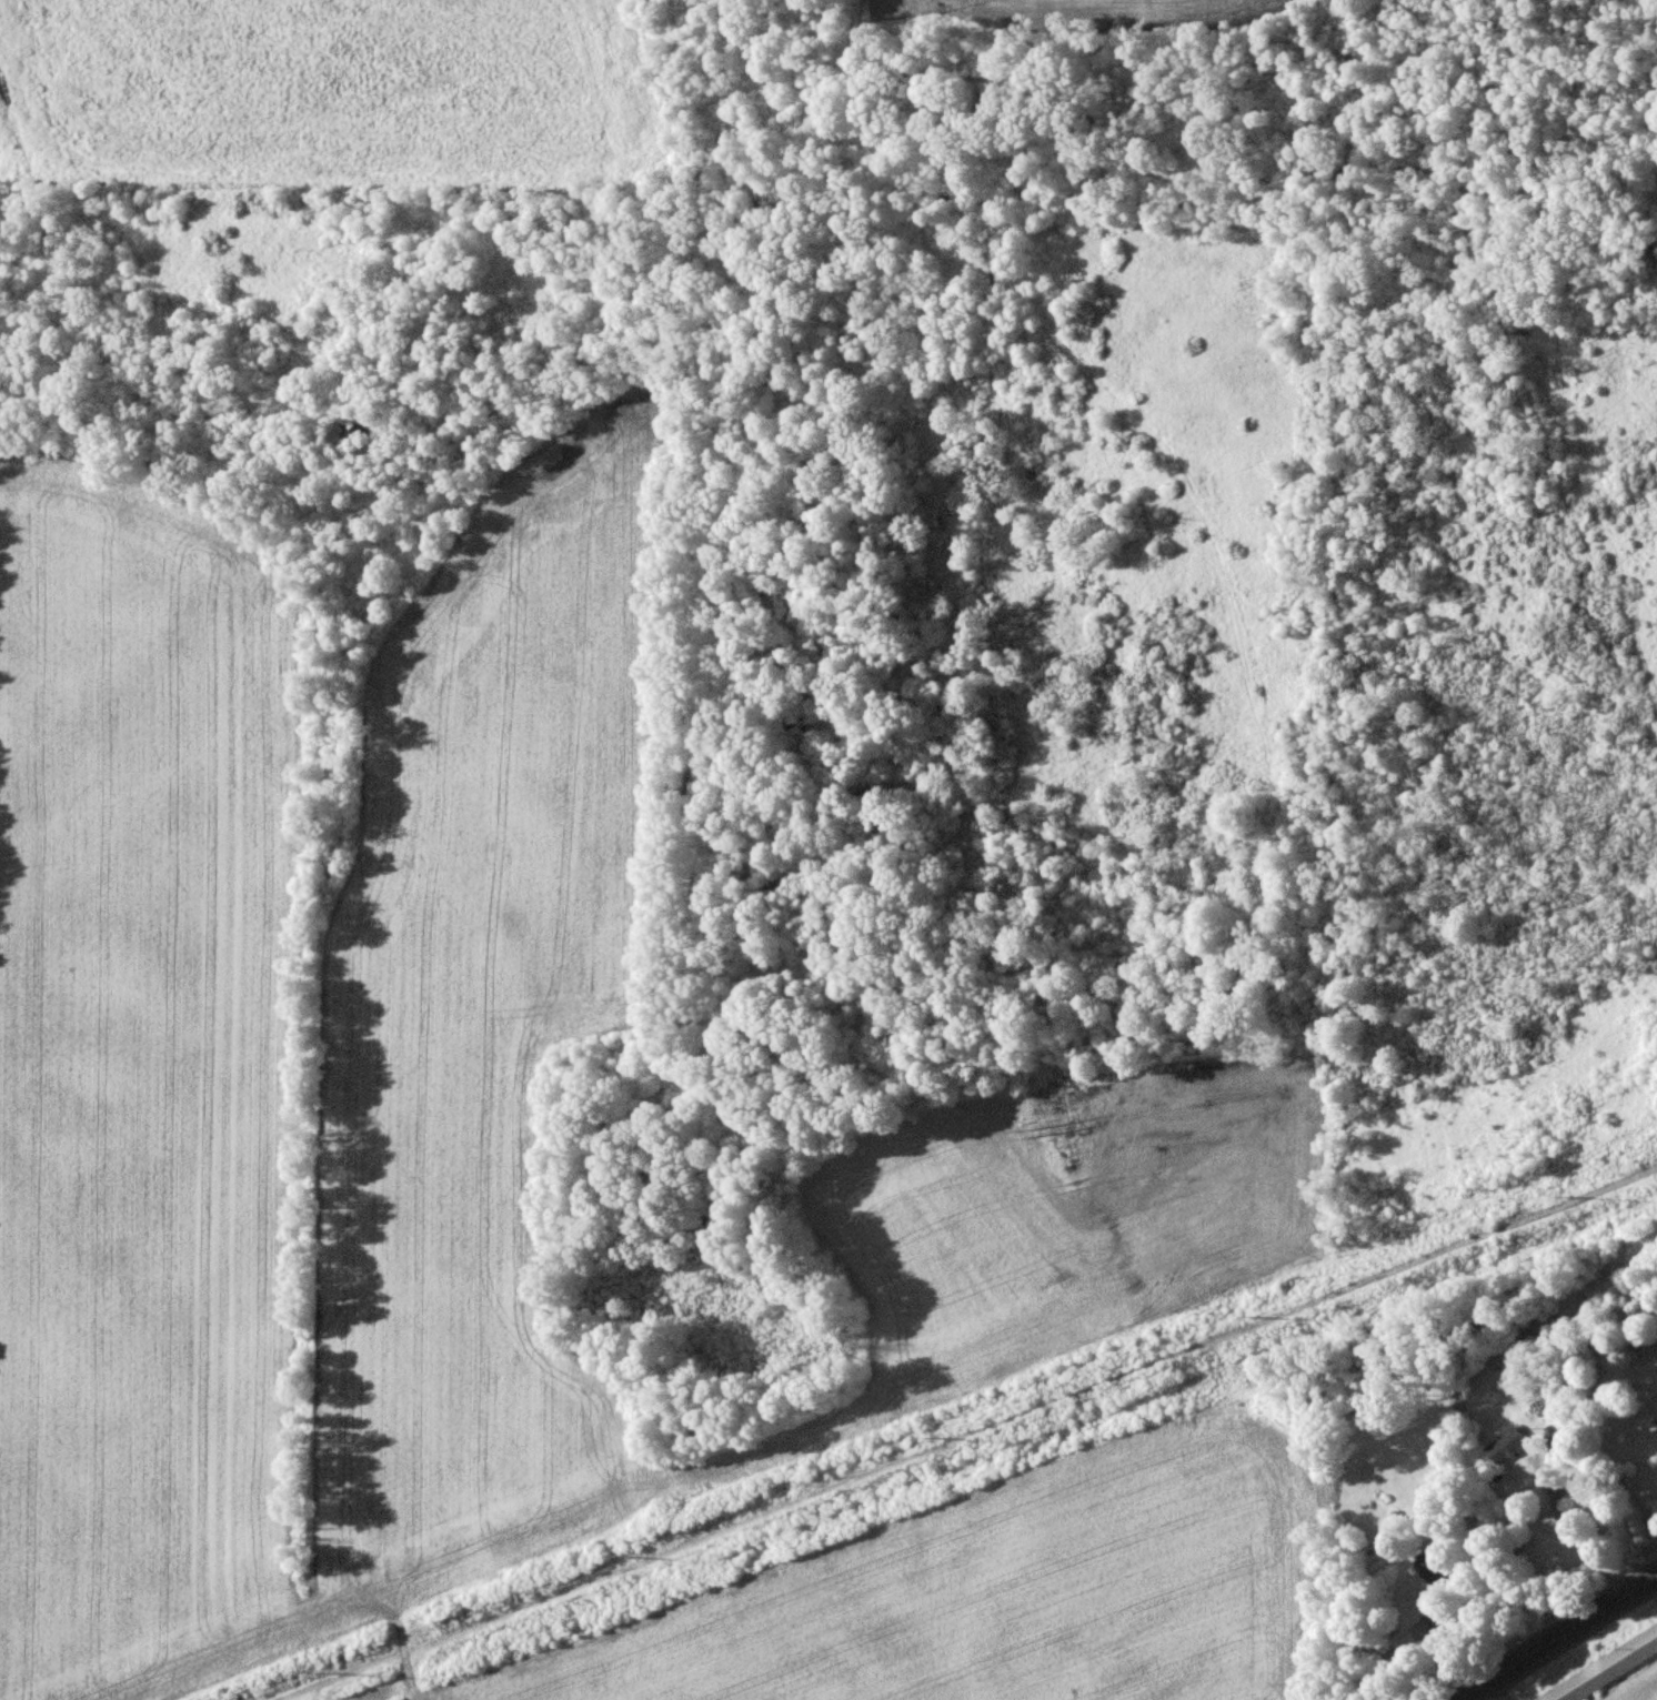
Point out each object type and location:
building: (1554, 1438)
building: (1507, 1446)
building: (1655, 1508)
road: (1568, 1540)
building: (1435, 1567)
building: (1439, 1622)
road: (1559, 1639)
building: (1601, 1670)

